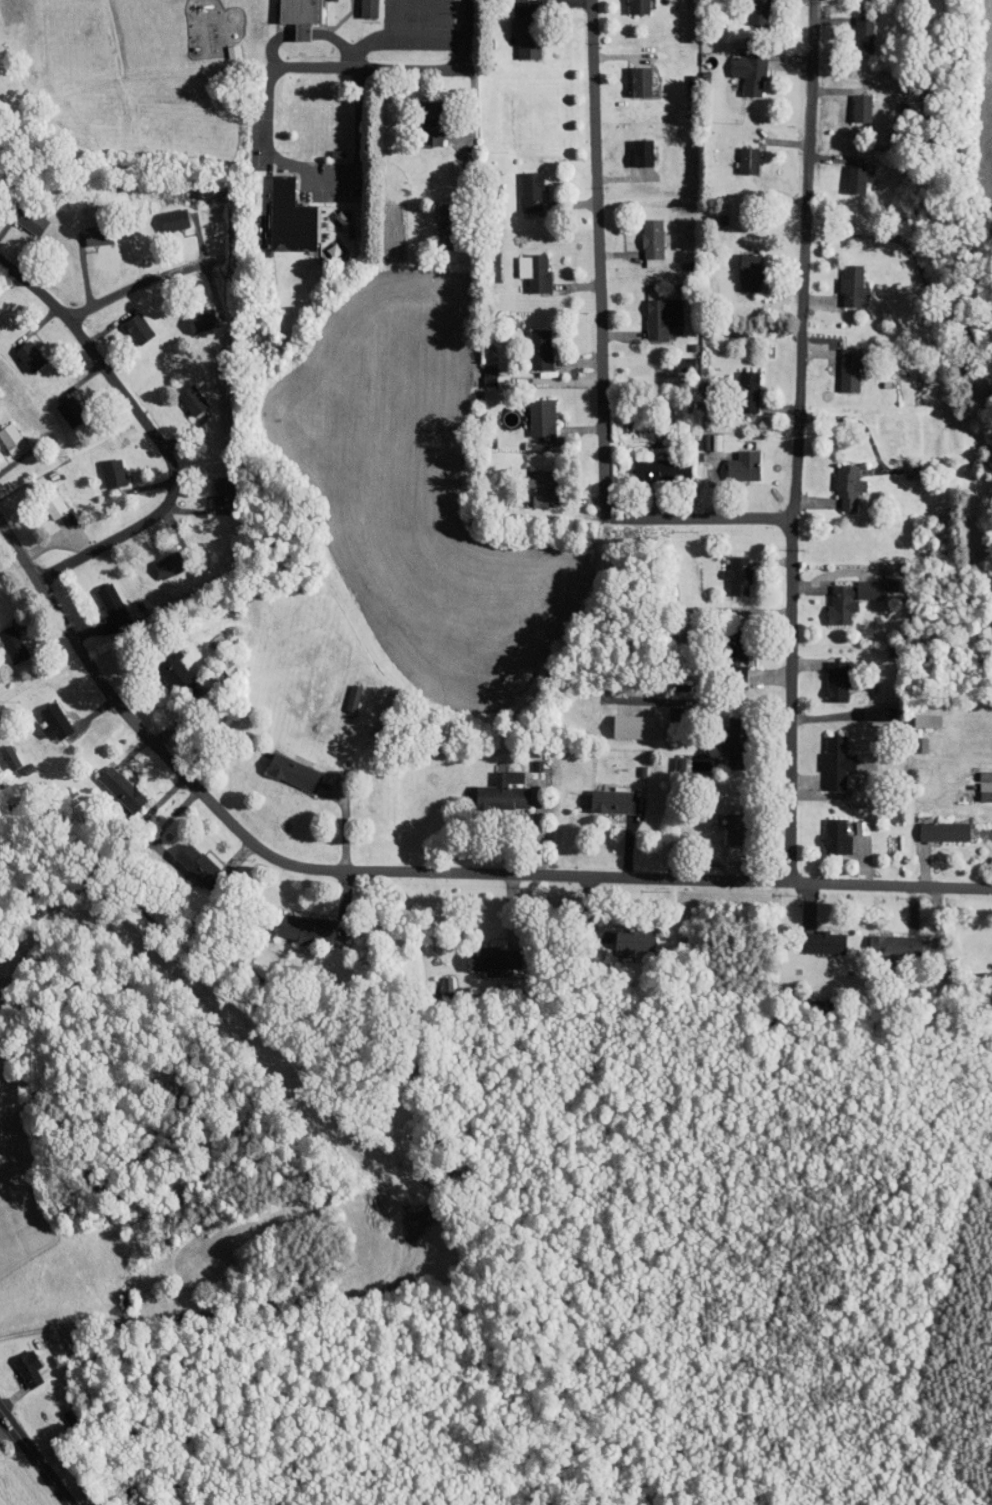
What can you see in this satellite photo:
building: (629, 3)
building: (358, 5)
building: (748, 9)
road: (436, 16)
building: (304, 17)
road: (401, 17)
parking lot: (419, 23)
building: (517, 25)
building: (853, 28)
road: (303, 32)
road: (402, 33)
road: (467, 33)
building: (740, 66)
road: (412, 67)
building: (631, 76)
building: (851, 102)
building: (421, 117)
parking lot: (259, 134)
building: (633, 147)
building: (738, 154)
road: (285, 161)
building: (846, 173)
parking lot: (326, 182)
building: (521, 185)
building: (433, 206)
building: (163, 213)
building: (21, 215)
building: (293, 218)
building: (87, 229)
building: (435, 232)
building: (641, 237)
road: (793, 260)
building: (740, 266)
building: (524, 267)
building: (842, 279)
road: (147, 282)
building: (652, 311)
building: (191, 314)
building: (127, 323)
building: (530, 343)
road: (600, 344)
building: (19, 350)
building: (840, 364)
building: (483, 370)
building: (737, 385)
building: (181, 394)
building: (62, 405)
building: (531, 412)
road: (155, 434)
building: (5, 435)
building: (733, 460)
building: (651, 464)
building: (102, 467)
building: (838, 480)
building: (532, 481)
building: (214, 486)
building: (44, 501)
building: (158, 559)
building: (728, 569)
building: (840, 593)
building: (100, 596)
building: (6, 642)
building: (728, 643)
building: (163, 663)
building: (727, 669)
building: (826, 675)
building: (342, 692)
road: (780, 702)
building: (869, 708)
building: (917, 710)
building: (44, 716)
building: (623, 721)
building: (726, 744)
building: (3, 754)
building: (668, 757)
building: (826, 757)
building: (283, 767)
building: (976, 770)
building: (111, 783)
building: (977, 785)
building: (493, 786)
building: (602, 796)
building: (727, 823)
building: (933, 826)
building: (826, 832)
building: (185, 858)
road: (411, 873)
building: (295, 921)
building: (623, 933)
building: (815, 937)
building: (883, 940)
building: (481, 953)
building: (17, 1362)
road: (30, 1464)

